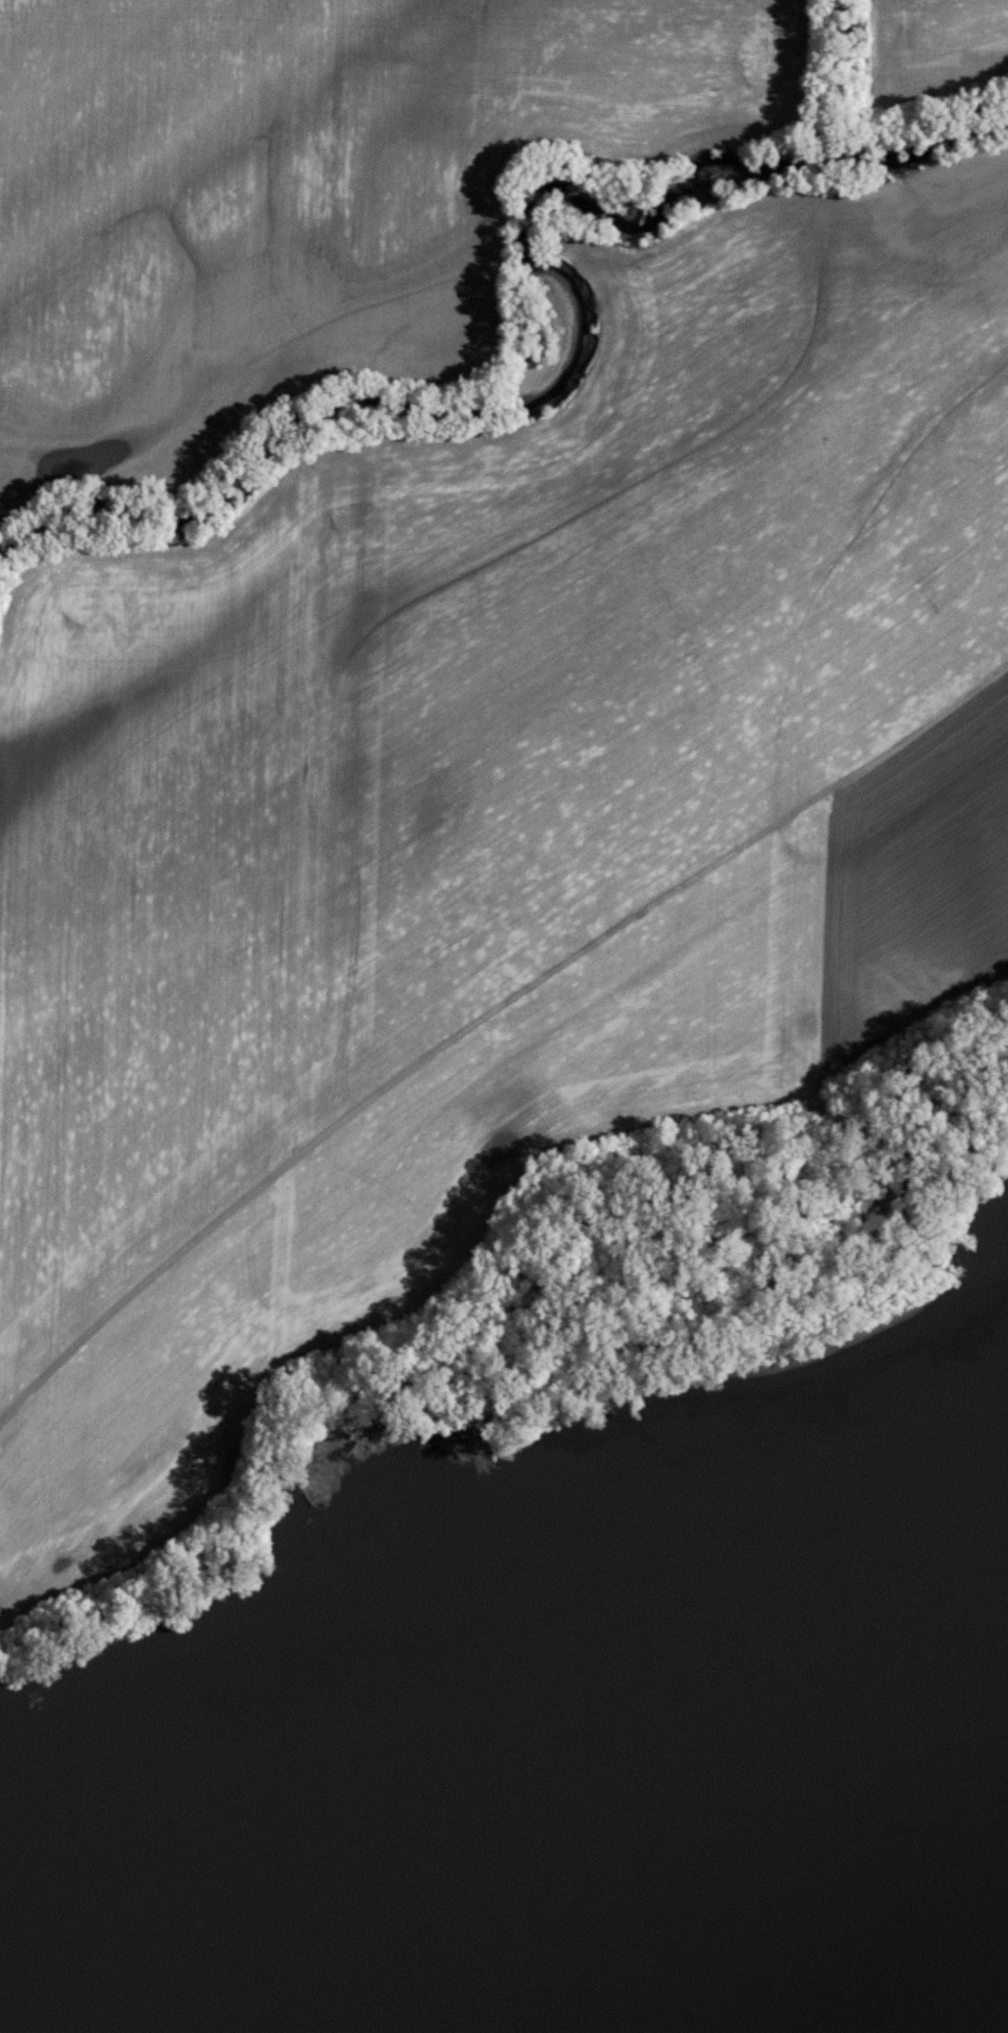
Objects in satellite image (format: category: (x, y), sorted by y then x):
river: (790, 1895)

